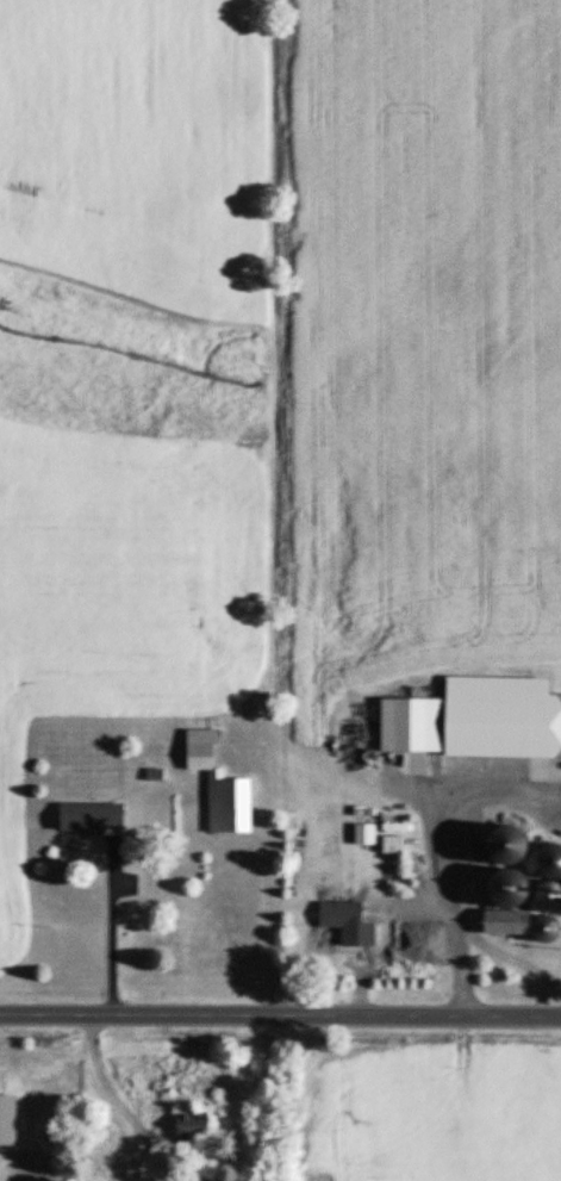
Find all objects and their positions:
building: (478, 719)
building: (224, 784)
building: (96, 818)
road: (437, 849)
building: (465, 868)
building: (350, 921)
building: (517, 921)
road: (113, 926)
road: (513, 955)
road: (280, 1015)
building: (10, 1119)
building: (199, 1125)

